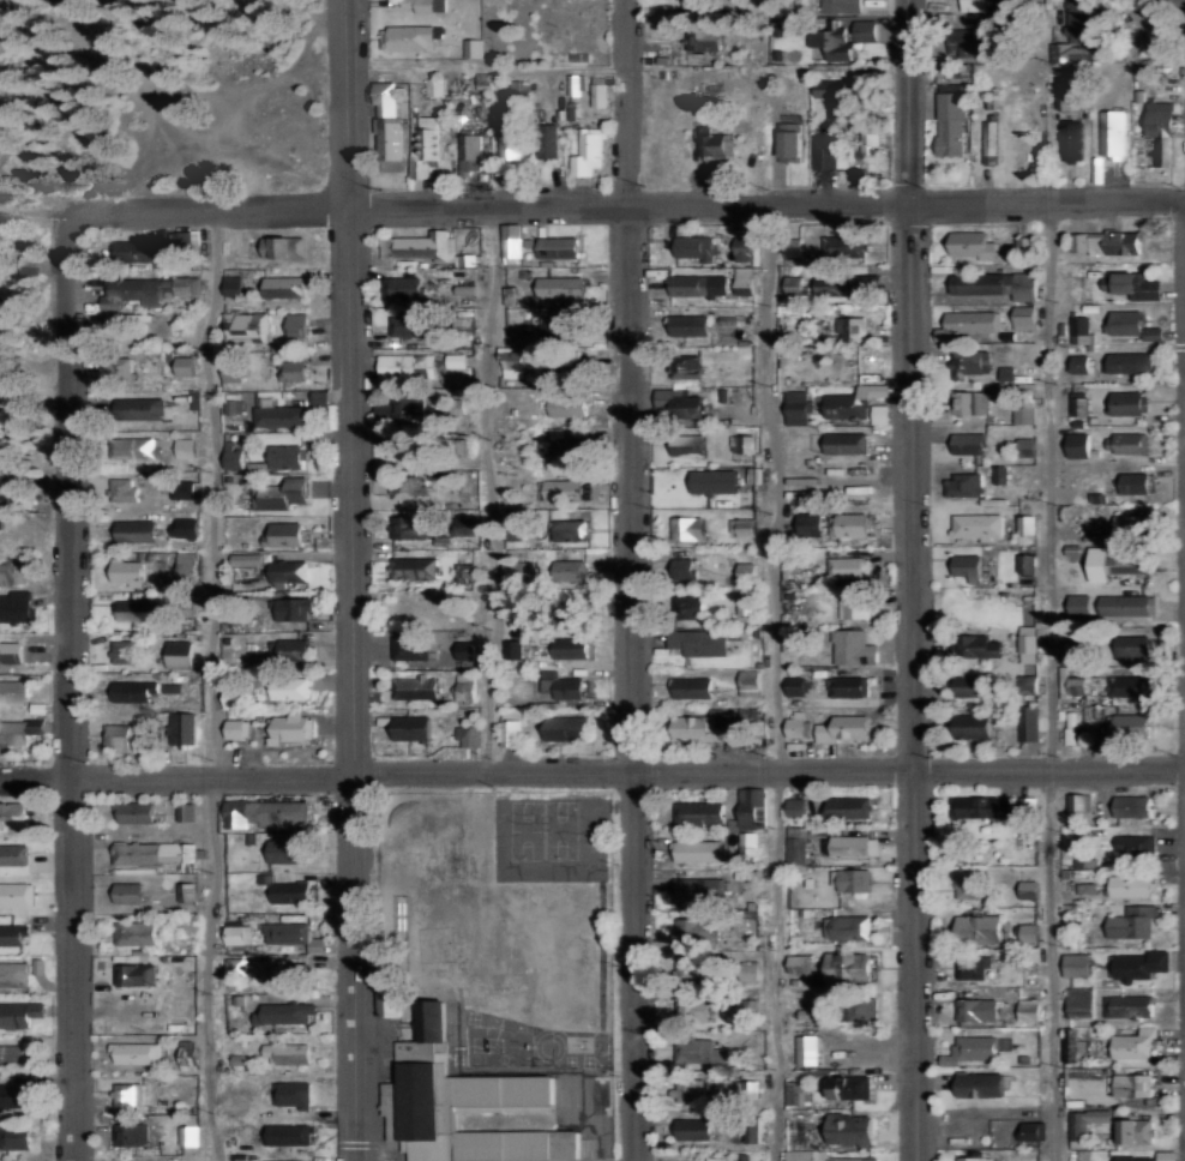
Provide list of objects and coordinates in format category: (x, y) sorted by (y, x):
road: (1180, 1)
building: (694, 4)
building: (425, 5)
building: (841, 5)
building: (410, 37)
building: (843, 37)
building: (705, 41)
building: (473, 48)
building: (576, 85)
building: (433, 86)
building: (519, 89)
building: (1066, 92)
building: (598, 96)
building: (832, 96)
road: (636, 101)
building: (952, 119)
building: (389, 122)
building: (1162, 130)
building: (1112, 134)
building: (1067, 140)
building: (510, 142)
building: (789, 142)
building: (991, 142)
building: (711, 143)
building: (873, 144)
building: (426, 148)
building: (469, 149)
building: (588, 151)
building: (830, 151)
road: (625, 200)
building: (511, 241)
building: (1117, 243)
building: (973, 245)
building: (419, 246)
building: (844, 246)
building: (182, 247)
building: (288, 247)
building: (560, 247)
building: (696, 247)
building: (745, 248)
building: (138, 251)
building: (793, 255)
building: (745, 281)
building: (233, 282)
building: (794, 284)
building: (998, 284)
building: (699, 285)
building: (841, 285)
building: (1133, 285)
building: (285, 287)
building: (563, 287)
building: (403, 288)
building: (145, 289)
building: (511, 295)
building: (1025, 318)
building: (245, 324)
building: (968, 324)
building: (296, 325)
building: (411, 325)
building: (558, 325)
building: (691, 325)
building: (1132, 325)
building: (852, 329)
building: (1081, 330)
building: (456, 360)
building: (1129, 362)
building: (511, 363)
building: (970, 363)
building: (1082, 363)
building: (186, 366)
building: (407, 366)
building: (686, 368)
building: (118, 369)
building: (294, 371)
building: (233, 372)
building: (1006, 373)
building: (853, 402)
building: (973, 402)
building: (1079, 403)
building: (1126, 403)
building: (681, 405)
building: (567, 407)
building: (398, 408)
building: (798, 408)
building: (140, 409)
building: (1025, 409)
building: (281, 416)
building: (846, 443)
building: (970, 443)
building: (1127, 443)
building: (1081, 445)
building: (688, 446)
building: (1028, 446)
building: (139, 447)
building: (186, 447)
building: (404, 447)
building: (567, 447)
building: (233, 457)
building: (285, 457)
building: (999, 475)
road: (492, 481)
building: (716, 481)
building: (1137, 483)
building: (963, 485)
building: (411, 487)
building: (560, 487)
building: (124, 488)
building: (281, 494)
building: (22, 495)
building: (1131, 524)
building: (811, 525)
building: (1027, 525)
building: (570, 527)
building: (978, 527)
building: (188, 528)
building: (410, 528)
building: (688, 529)
building: (137, 531)
building: (284, 535)
building: (246, 559)
building: (1028, 564)
building: (1115, 564)
building: (685, 565)
building: (186, 566)
building: (414, 567)
building: (846, 567)
building: (969, 567)
building: (571, 571)
building: (8, 572)
building: (128, 572)
building: (288, 572)
building: (747, 572)
building: (464, 573)
road: (350, 579)
road: (913, 579)
building: (746, 604)
building: (1081, 604)
building: (1127, 604)
building: (16, 606)
building: (852, 606)
building: (137, 610)
building: (700, 640)
building: (1076, 642)
building: (1028, 643)
building: (978, 645)
building: (1136, 645)
building: (411, 646)
building: (467, 646)
building: (571, 646)
building: (854, 646)
building: (295, 648)
building: (11, 650)
building: (122, 651)
building: (179, 654)
road: (1048, 679)
road: (633, 680)
road: (778, 680)
building: (750, 681)
road: (216, 682)
building: (970, 684)
building: (796, 685)
building: (1078, 685)
building: (1126, 685)
building: (415, 686)
building: (467, 686)
building: (564, 686)
building: (693, 686)
building: (848, 686)
road: (67, 687)
building: (289, 687)
building: (134, 690)
building: (13, 692)
building: (235, 696)
building: (798, 722)
building: (1029, 722)
building: (1131, 724)
building: (748, 726)
building: (975, 726)
building: (181, 727)
building: (234, 727)
building: (289, 727)
building: (414, 727)
building: (567, 727)
building: (698, 727)
building: (846, 727)
building: (1070, 727)
building: (511, 728)
building: (13, 732)
building: (121, 735)
building: (469, 735)
road: (592, 766)
building: (1133, 805)
building: (796, 806)
building: (848, 806)
building: (752, 807)
building: (14, 812)
building: (136, 812)
building: (265, 812)
building: (699, 812)
building: (795, 843)
building: (852, 844)
building: (1136, 846)
building: (747, 847)
building: (289, 849)
building: (698, 849)
building: (158, 853)
building: (12, 854)
building: (1085, 862)
building: (850, 878)
building: (1131, 885)
building: (967, 886)
building: (698, 889)
building: (1029, 889)
building: (130, 891)
building: (290, 891)
building: (17, 894)
building: (1132, 921)
building: (848, 926)
building: (980, 927)
building: (693, 928)
building: (237, 932)
building: (1029, 932)
building: (136, 933)
building: (12, 934)
building: (291, 934)
building: (1078, 964)
building: (1138, 964)
building: (236, 966)
building: (849, 967)
building: (974, 967)
building: (693, 969)
building: (19, 971)
building: (299, 973)
building: (136, 974)
building: (1082, 1003)
building: (1129, 1005)
building: (690, 1009)
building: (978, 1009)
building: (1030, 1010)
building: (20, 1012)
building: (285, 1012)
building: (1135, 1043)
building: (1075, 1045)
building: (807, 1048)
building: (972, 1049)
building: (187, 1052)
building: (287, 1052)
building: (700, 1052)
building: (13, 1054)
building: (982, 1084)
building: (848, 1085)
building: (687, 1089)
building: (293, 1093)
building: (796, 1093)
building: (130, 1094)
building: (14, 1095)
building: (469, 1105)
building: (1087, 1121)
building: (694, 1127)
building: (850, 1129)
building: (1033, 1130)
building: (1133, 1130)
building: (131, 1133)
building: (188, 1133)
building: (290, 1135)
building: (16, 1137)
building: (822, 1156)
building: (979, 1159)
building: (241, 1160)

